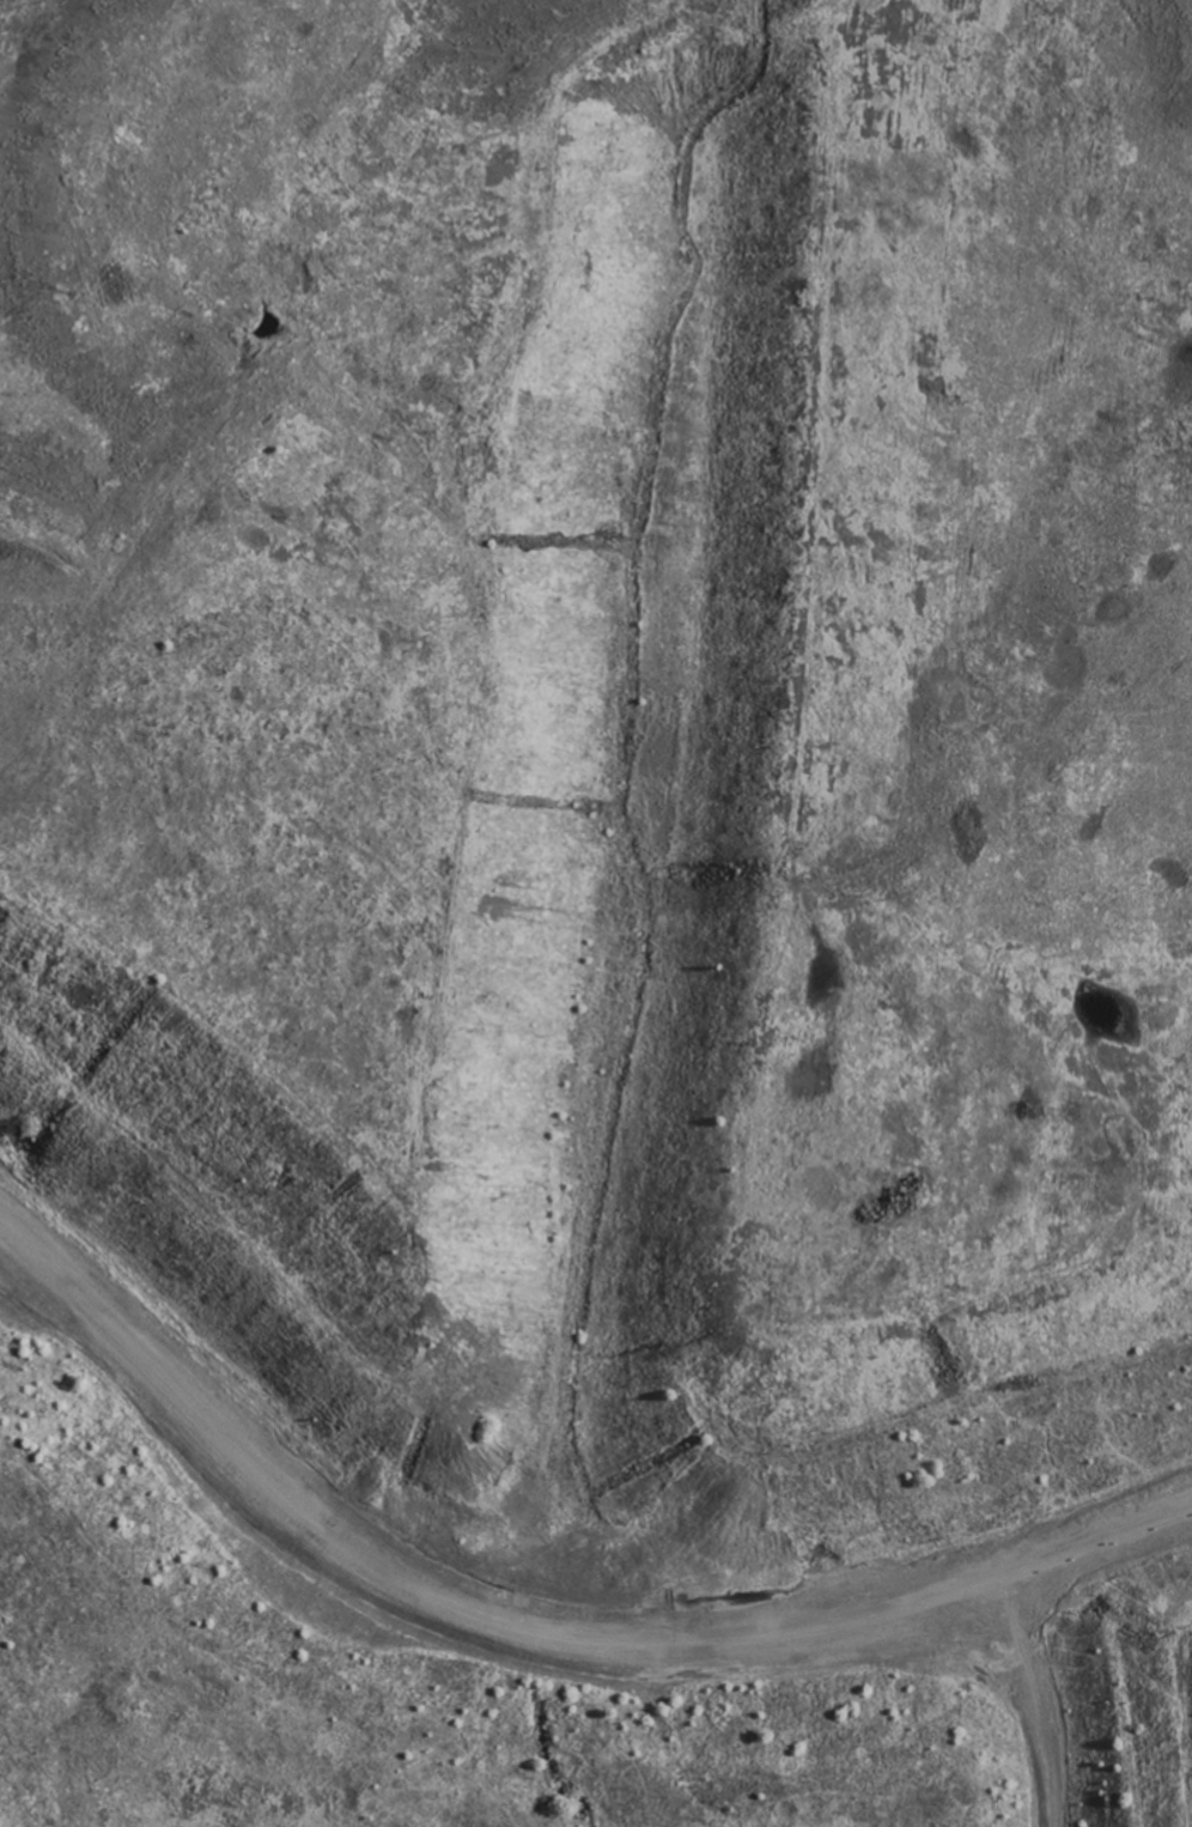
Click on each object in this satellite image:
quarry: (624, 809)
road: (534, 1646)

